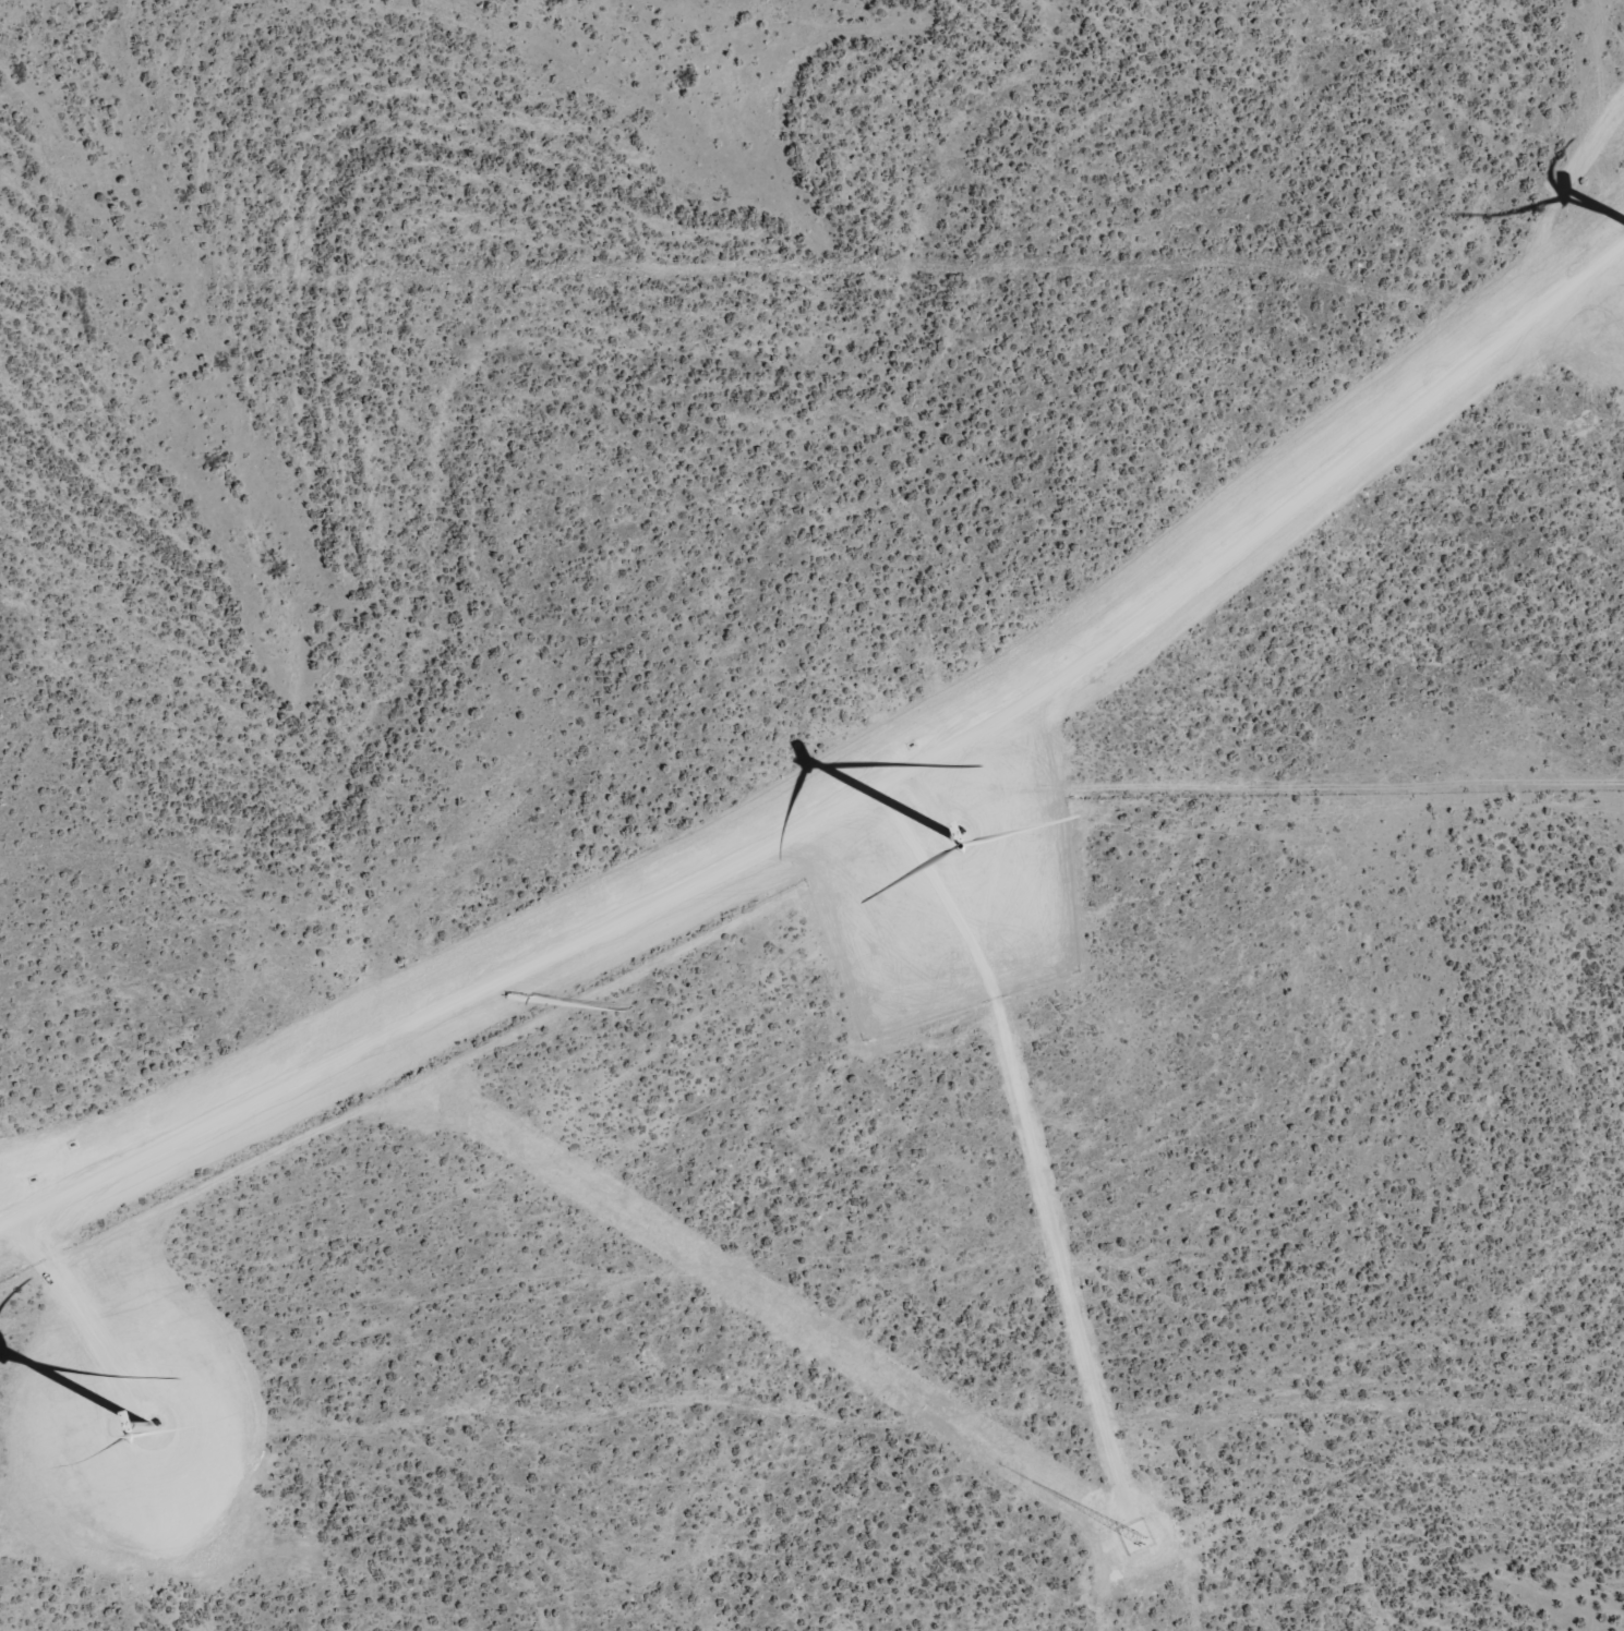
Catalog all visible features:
wind turbine: (959, 836)
wind turbine: (147, 1430)

